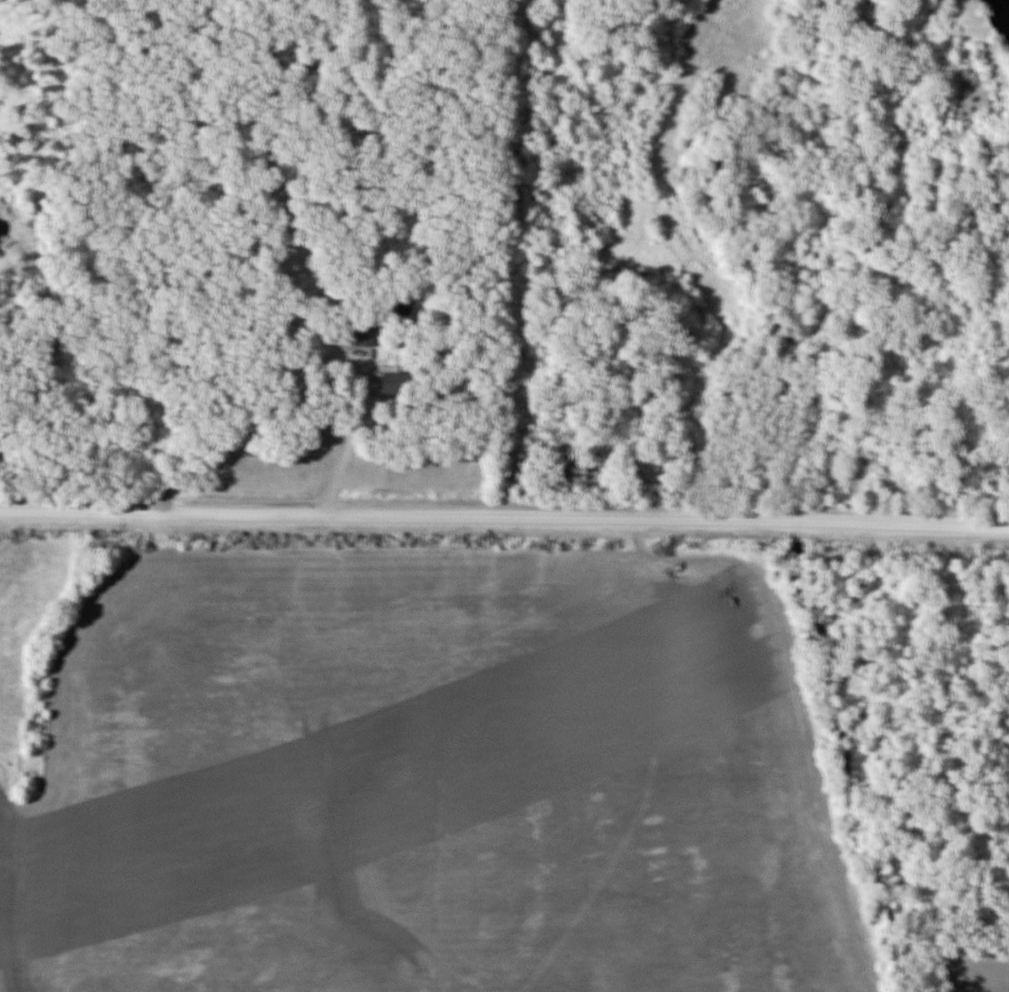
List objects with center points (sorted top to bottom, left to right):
building: (361, 335)
road: (305, 366)
building: (389, 384)
road: (504, 516)

